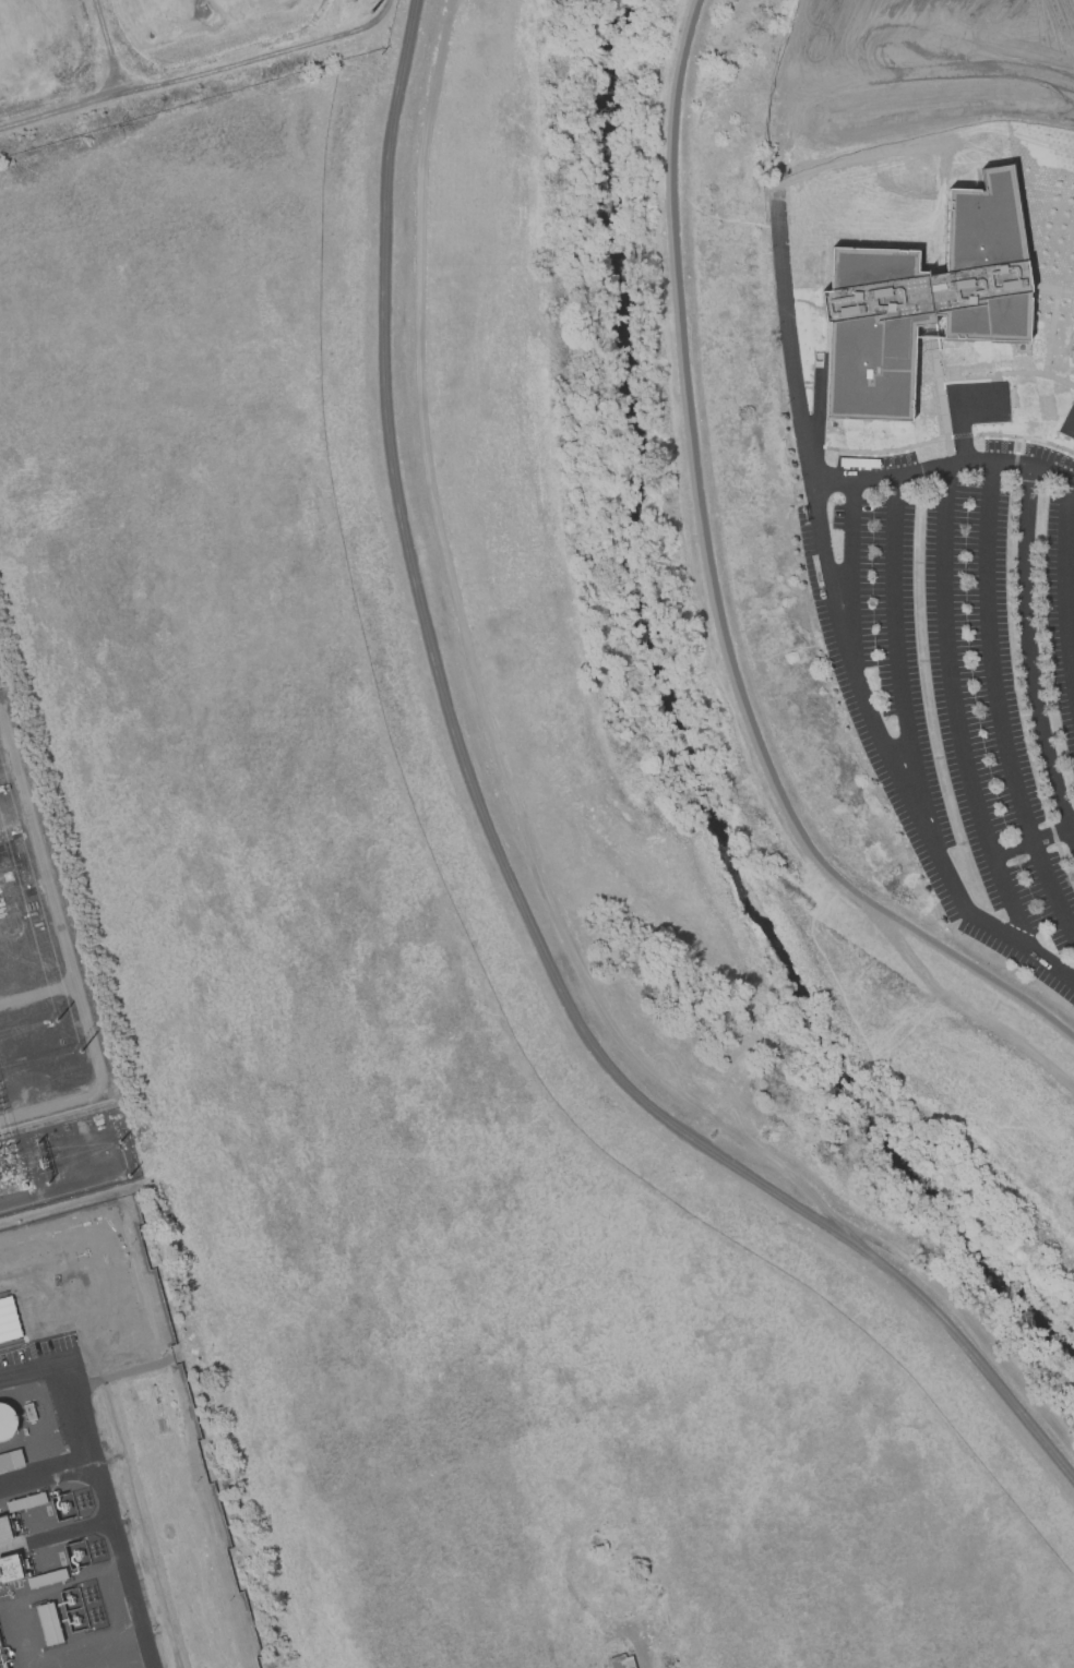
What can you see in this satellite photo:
road: (1060, 4)
power tower: (369, 11)
road: (968, 33)
road: (800, 60)
road: (838, 81)
road: (924, 83)
building: (926, 319)
road: (787, 337)
road: (944, 466)
road: (850, 561)
road: (1065, 578)
road: (719, 591)
road: (895, 648)
road: (1030, 656)
parking lot: (959, 669)
road: (998, 706)
road: (956, 712)
river: (675, 732)
road: (894, 764)
road: (523, 828)
road: (1033, 841)
crop: (411, 999)
road: (972, 1012)
power substation: (47, 1022)
power tower: (57, 1025)
power tower: (80, 1053)
building: (8, 1320)
building: (29, 1411)
building: (7, 1421)
building: (5, 1461)
power plant: (104, 1464)
road: (47, 1476)
road: (98, 1478)
building: (26, 1501)
building: (4, 1529)
building: (10, 1568)
building: (47, 1577)
building: (50, 1623)
road: (647, 1657)
building: (622, 1661)

